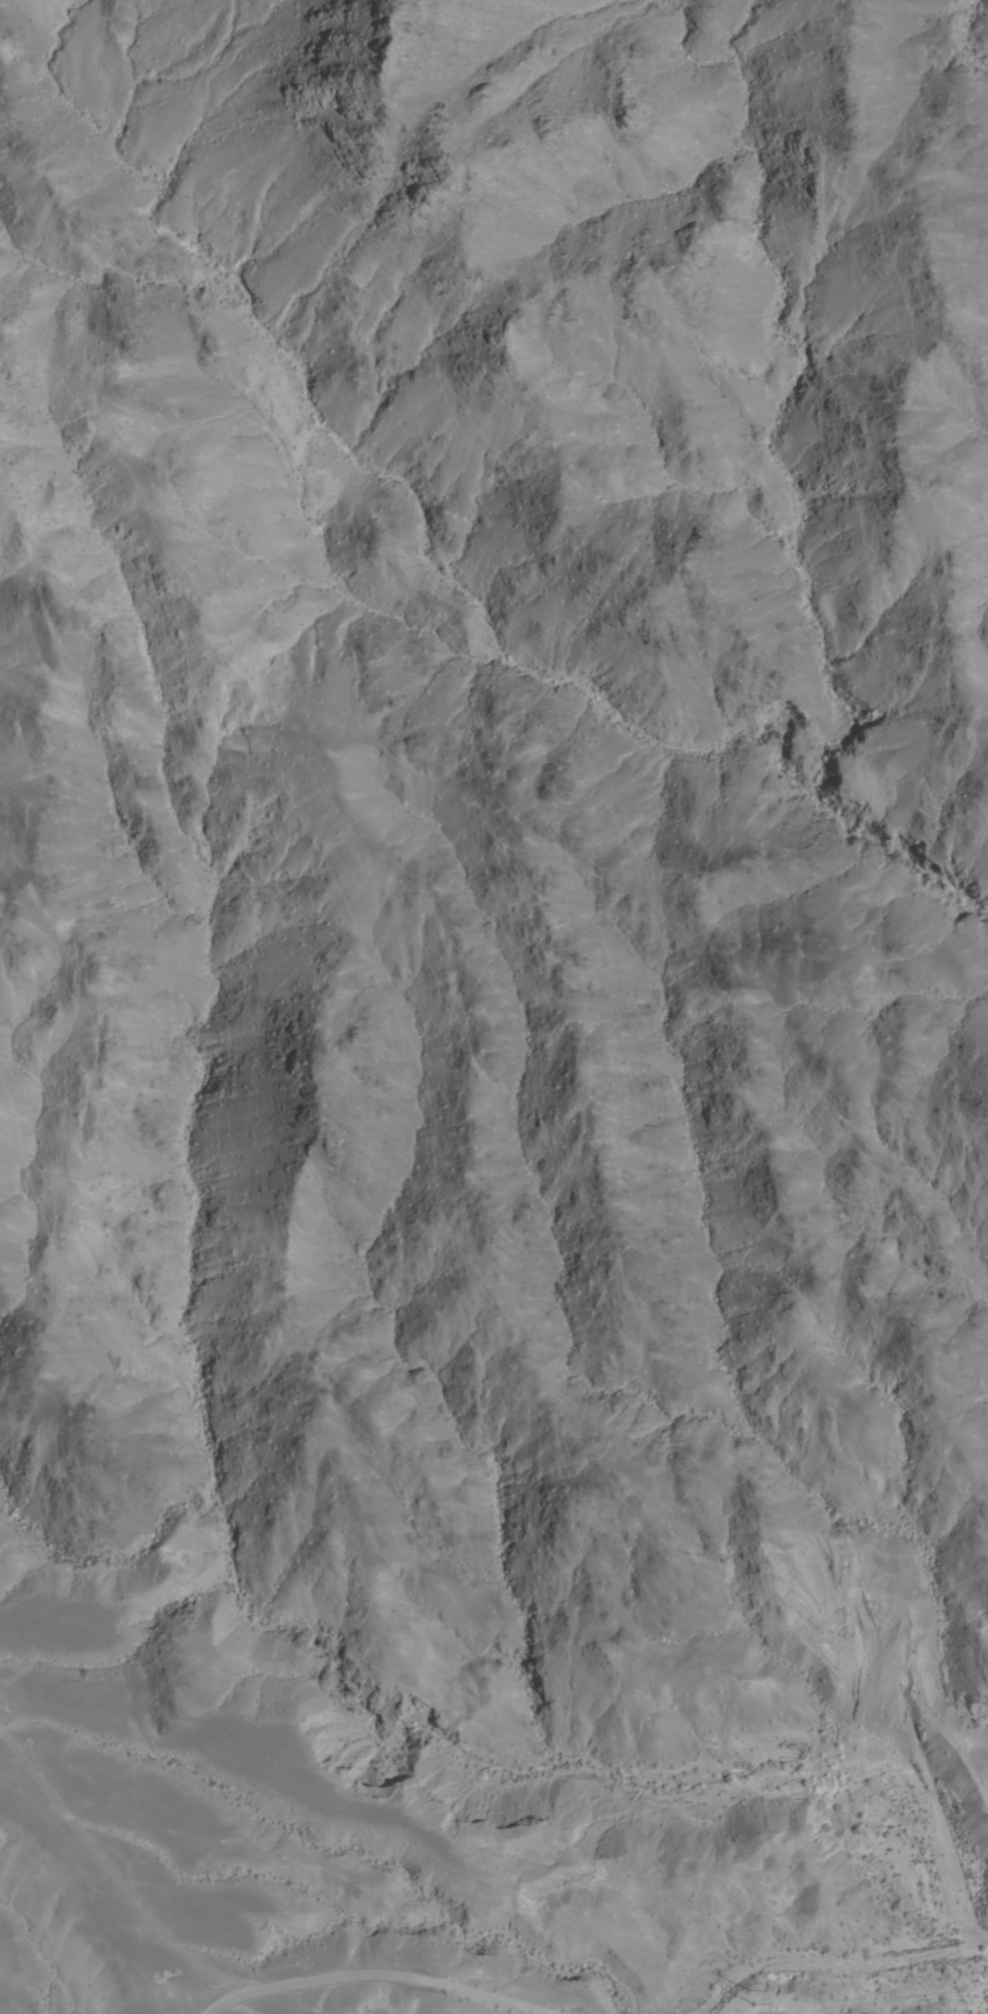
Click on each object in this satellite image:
power tower: (755, 1996)

